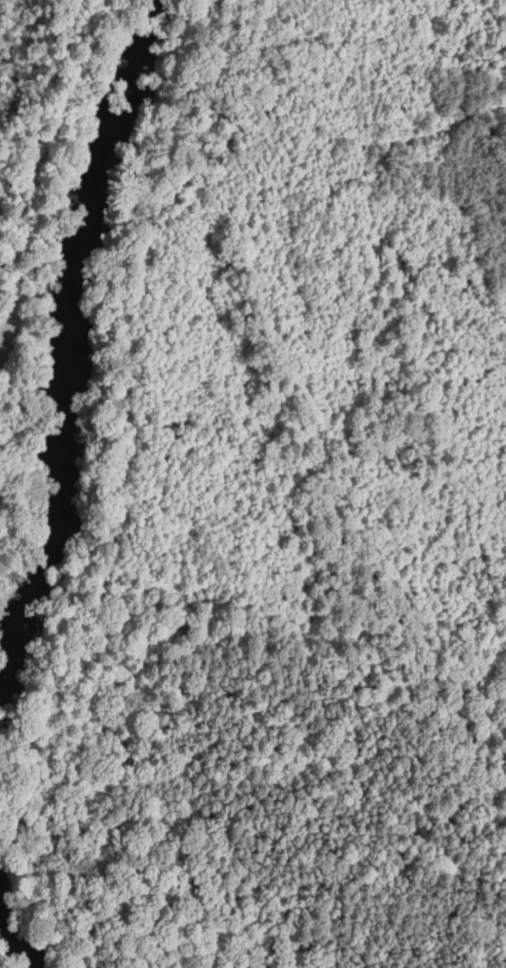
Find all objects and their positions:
road: (434, 157)
river: (64, 326)
river: (20, 938)

